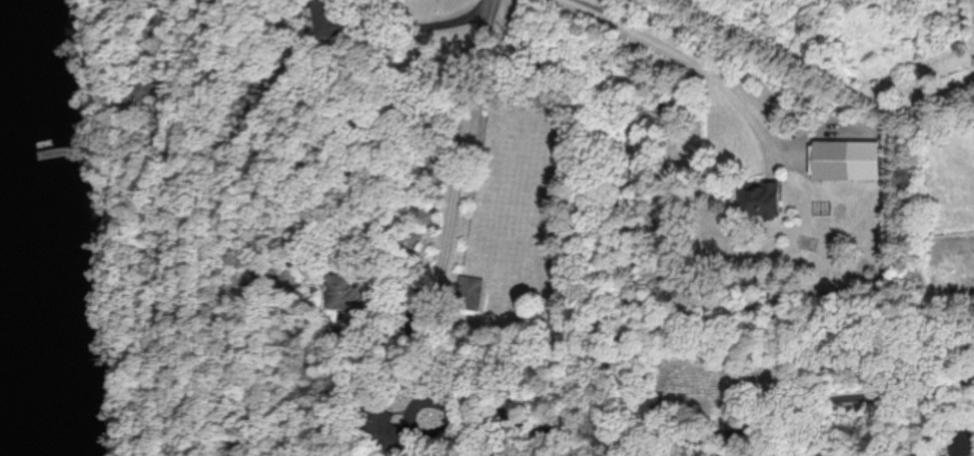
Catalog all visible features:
building: (336, 19)
road: (438, 22)
road: (670, 48)
building: (472, 294)
building: (355, 295)
road: (437, 295)
road: (830, 425)

